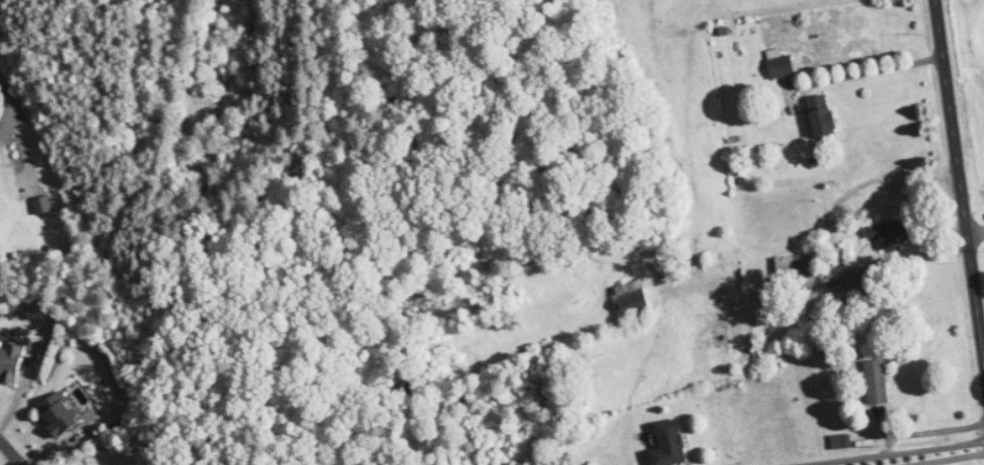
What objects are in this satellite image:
building: (781, 64)
road: (872, 70)
road: (8, 105)
building: (823, 115)
road: (962, 190)
building: (44, 204)
road: (975, 229)
building: (884, 234)
building: (634, 297)
building: (11, 363)
building: (878, 381)
building: (60, 417)
building: (843, 441)
building: (671, 444)
road: (888, 451)
road: (10, 452)

